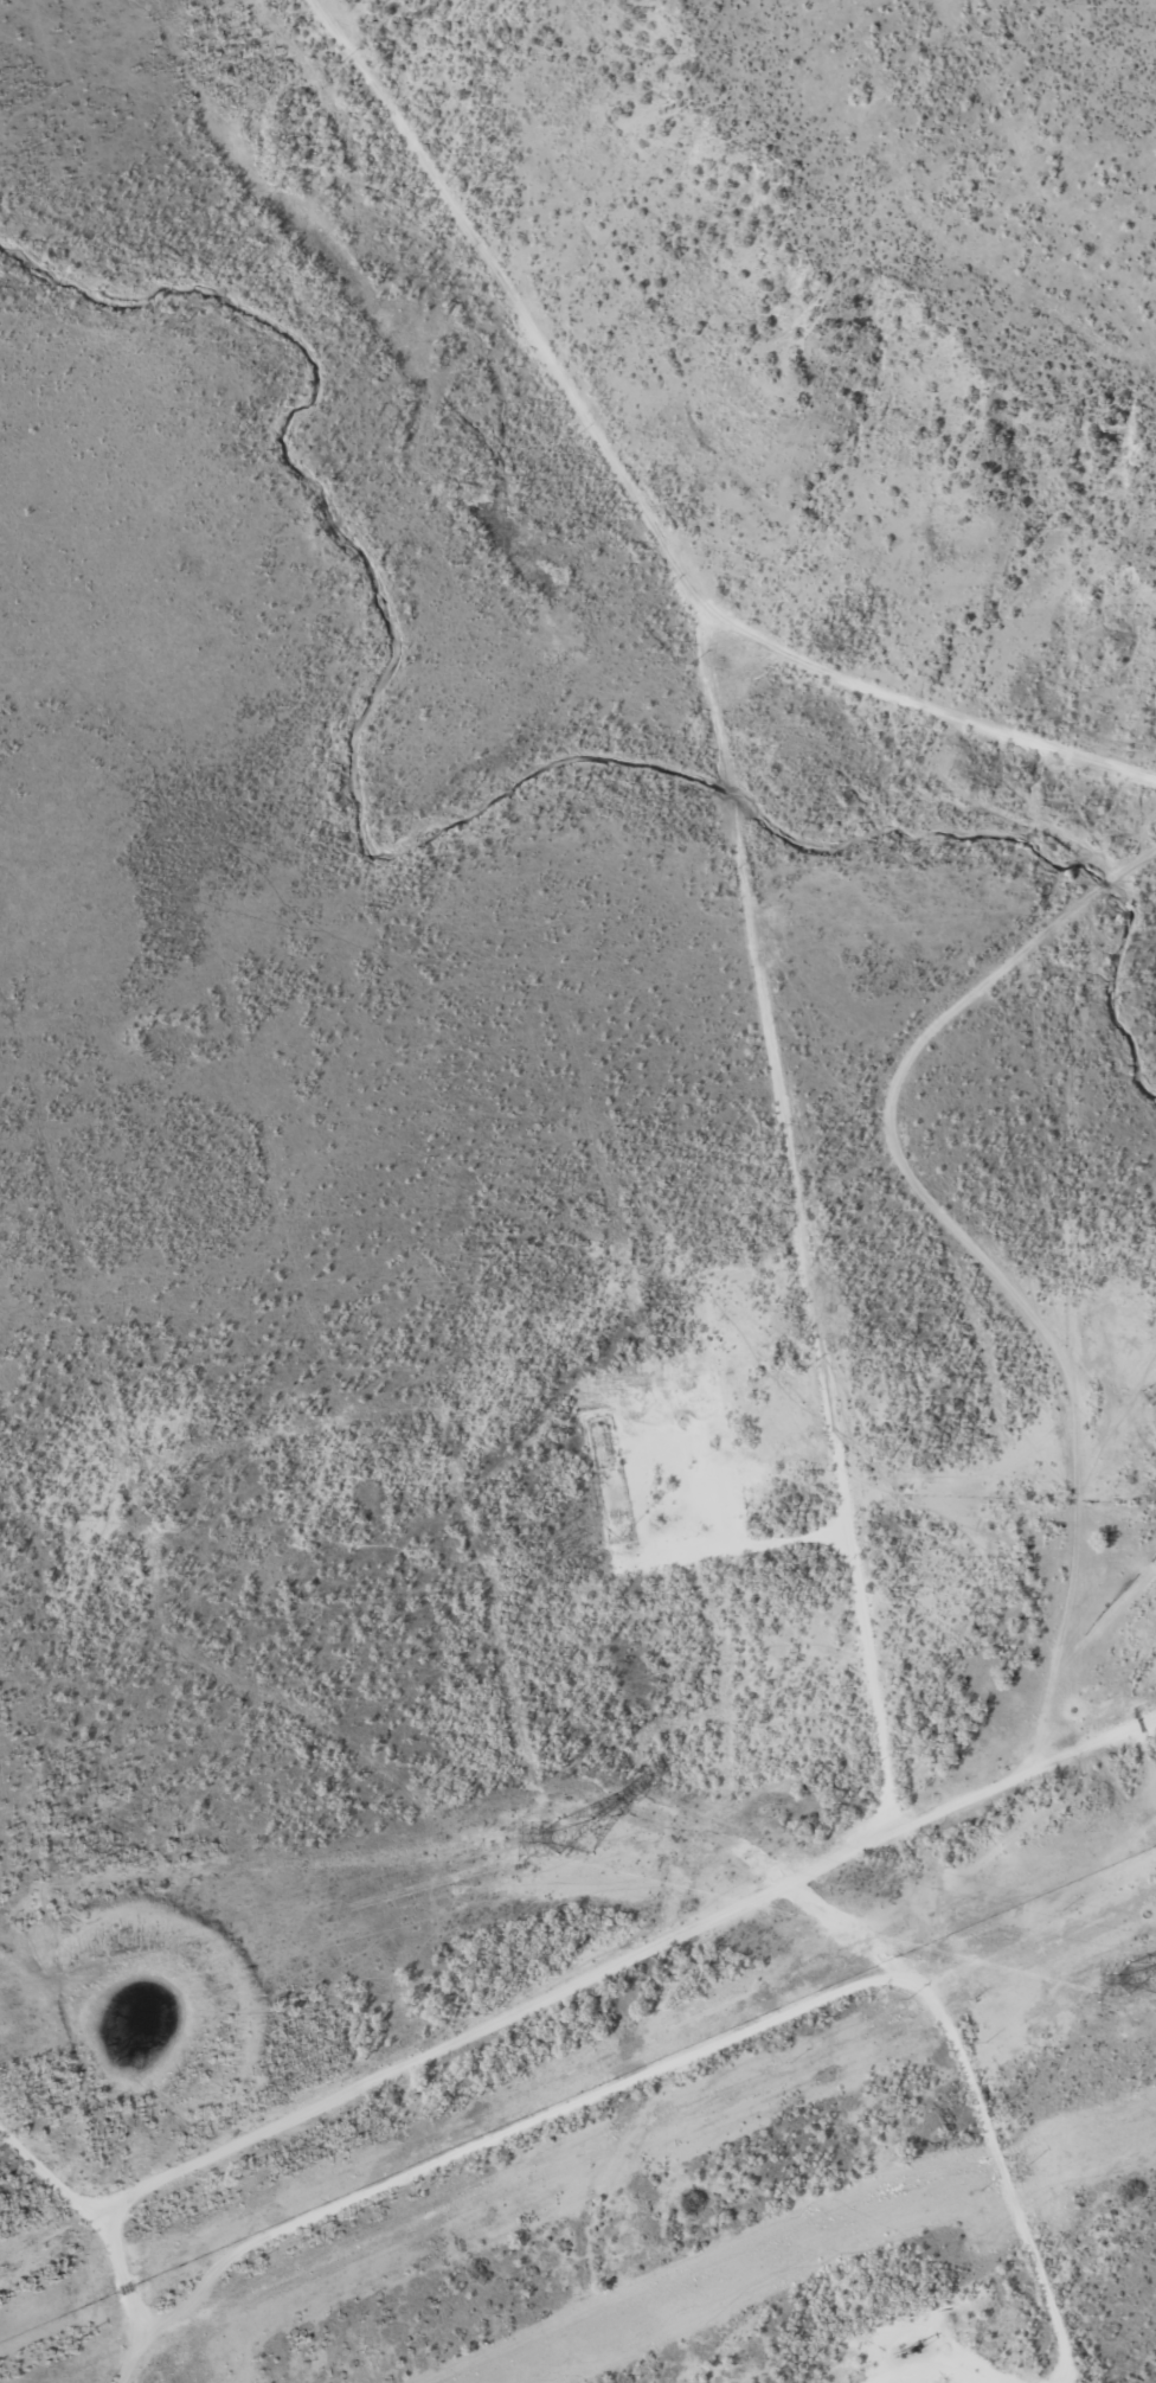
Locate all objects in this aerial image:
power tower: (573, 1836)
power tower: (1149, 1979)

